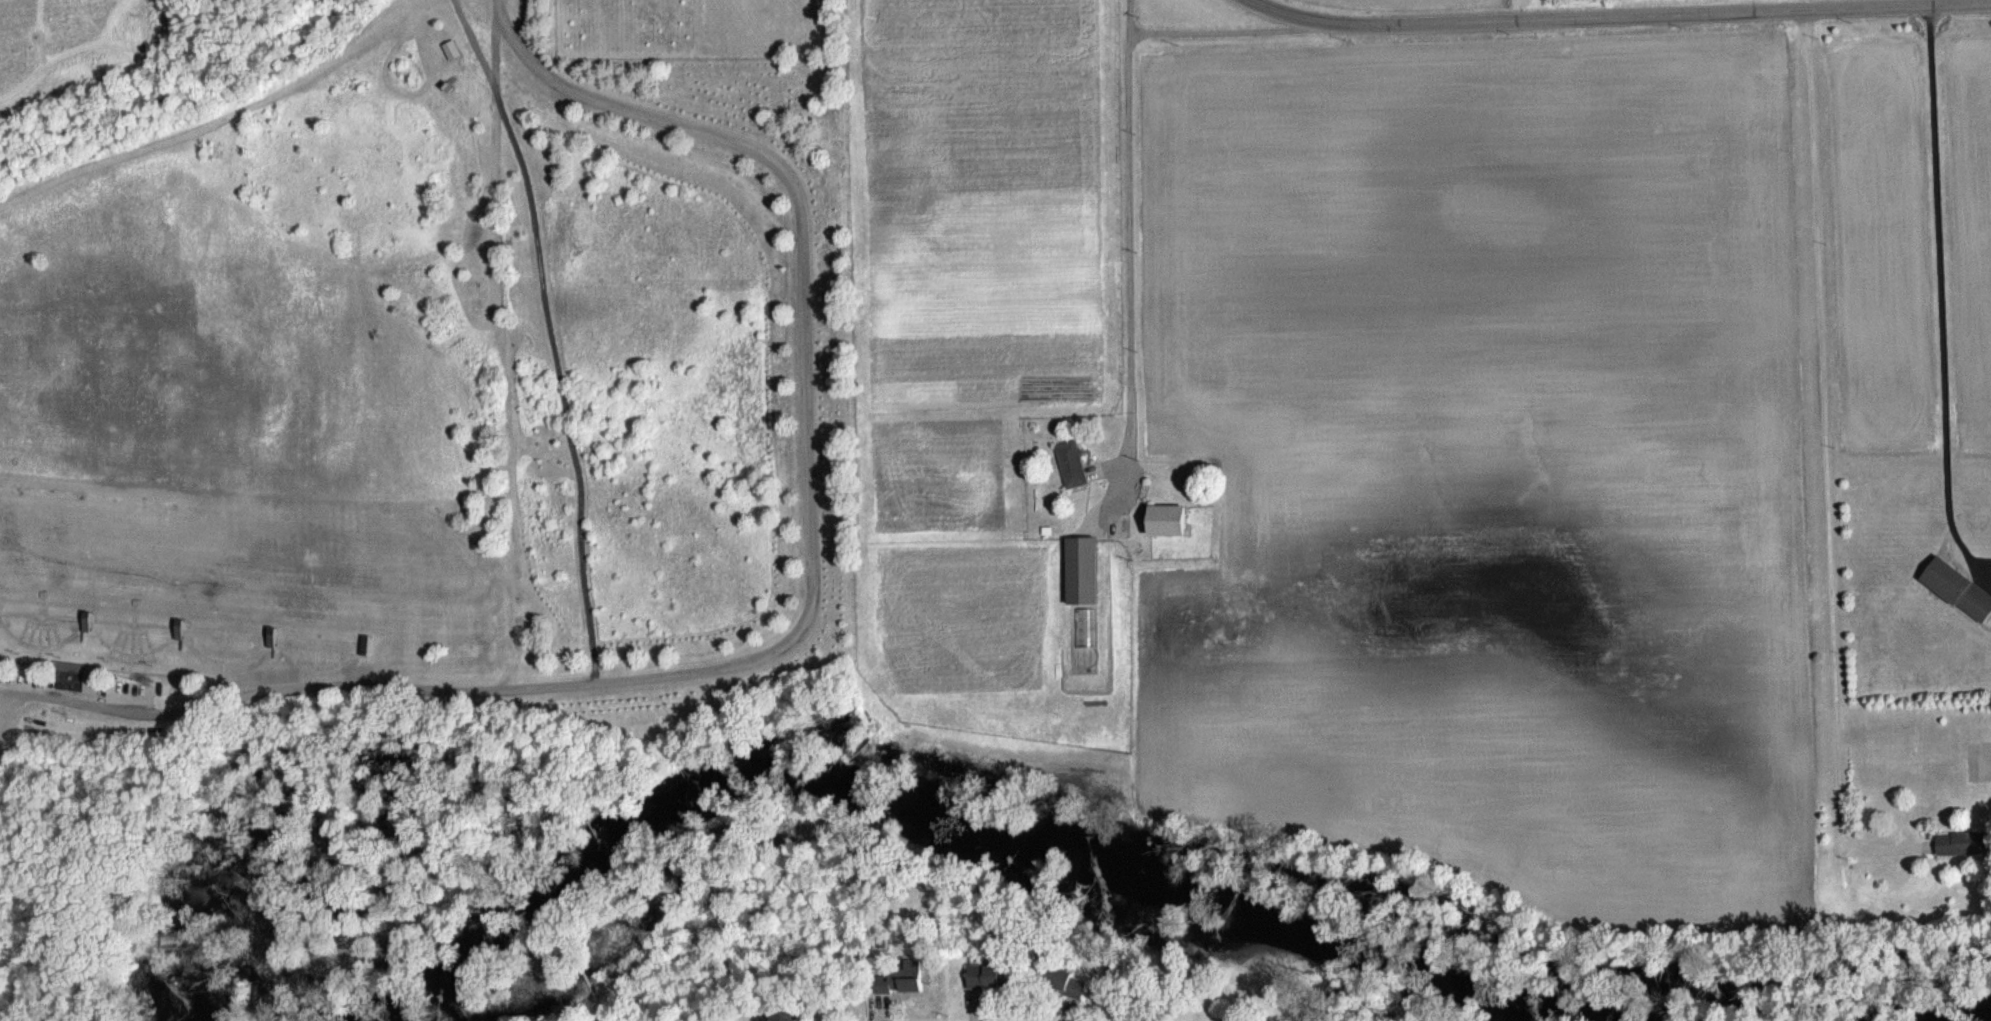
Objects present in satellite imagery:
road: (1618, 17)
road: (1217, 30)
road: (1127, 254)
road: (1937, 304)
road: (1822, 462)
building: (1065, 463)
building: (1156, 520)
building: (1073, 569)
building: (1951, 587)
road: (807, 623)
building: (66, 675)
river: (966, 797)
building: (1951, 842)
building: (979, 975)
building: (1056, 980)
river: (1866, 1004)
building: (787, 1015)

